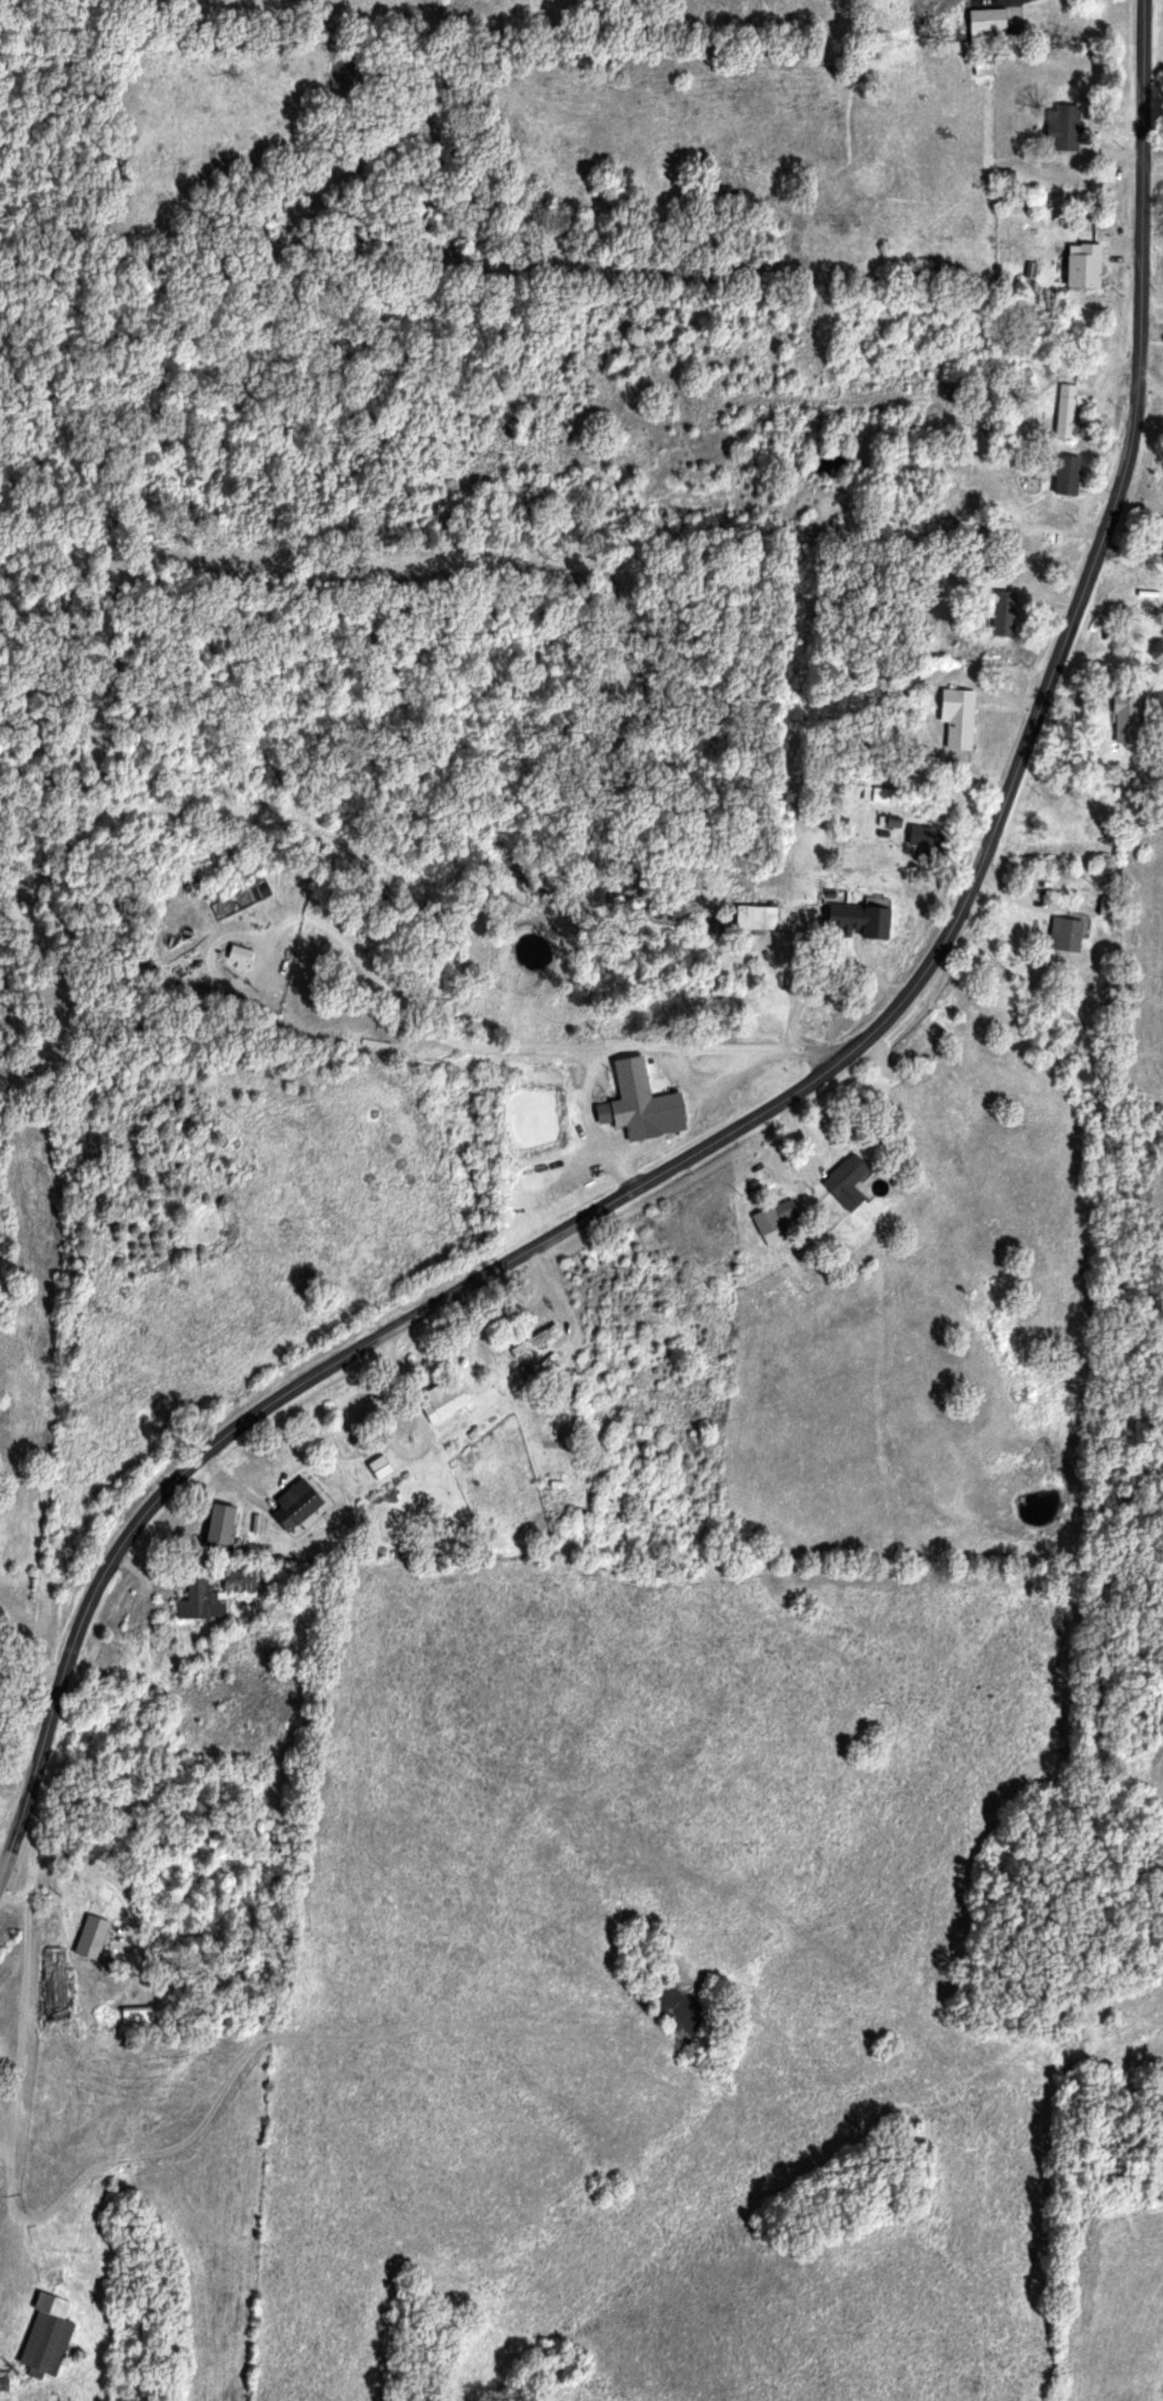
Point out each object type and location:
building: (986, 24)
building: (983, 68)
building: (1062, 127)
building: (1084, 266)
building: (1066, 411)
building: (1066, 474)
building: (992, 580)
building: (1002, 614)
road: (1053, 660)
building: (957, 719)
building: (1126, 719)
building: (878, 796)
building: (919, 839)
road: (791, 858)
building: (239, 901)
building: (754, 918)
building: (1065, 936)
building: (238, 957)
road: (510, 1046)
building: (639, 1105)
building: (845, 1182)
building: (774, 1221)
building: (533, 1342)
building: (442, 1403)
road: (224, 1436)
building: (378, 1468)
building: (294, 1506)
building: (218, 1525)
building: (237, 1581)
building: (200, 1603)
road: (5, 1841)
road: (12, 1904)
building: (90, 1939)
building: (135, 2017)
road: (19, 2018)
building: (46, 2337)
road: (7, 2344)
building: (4, 2381)

